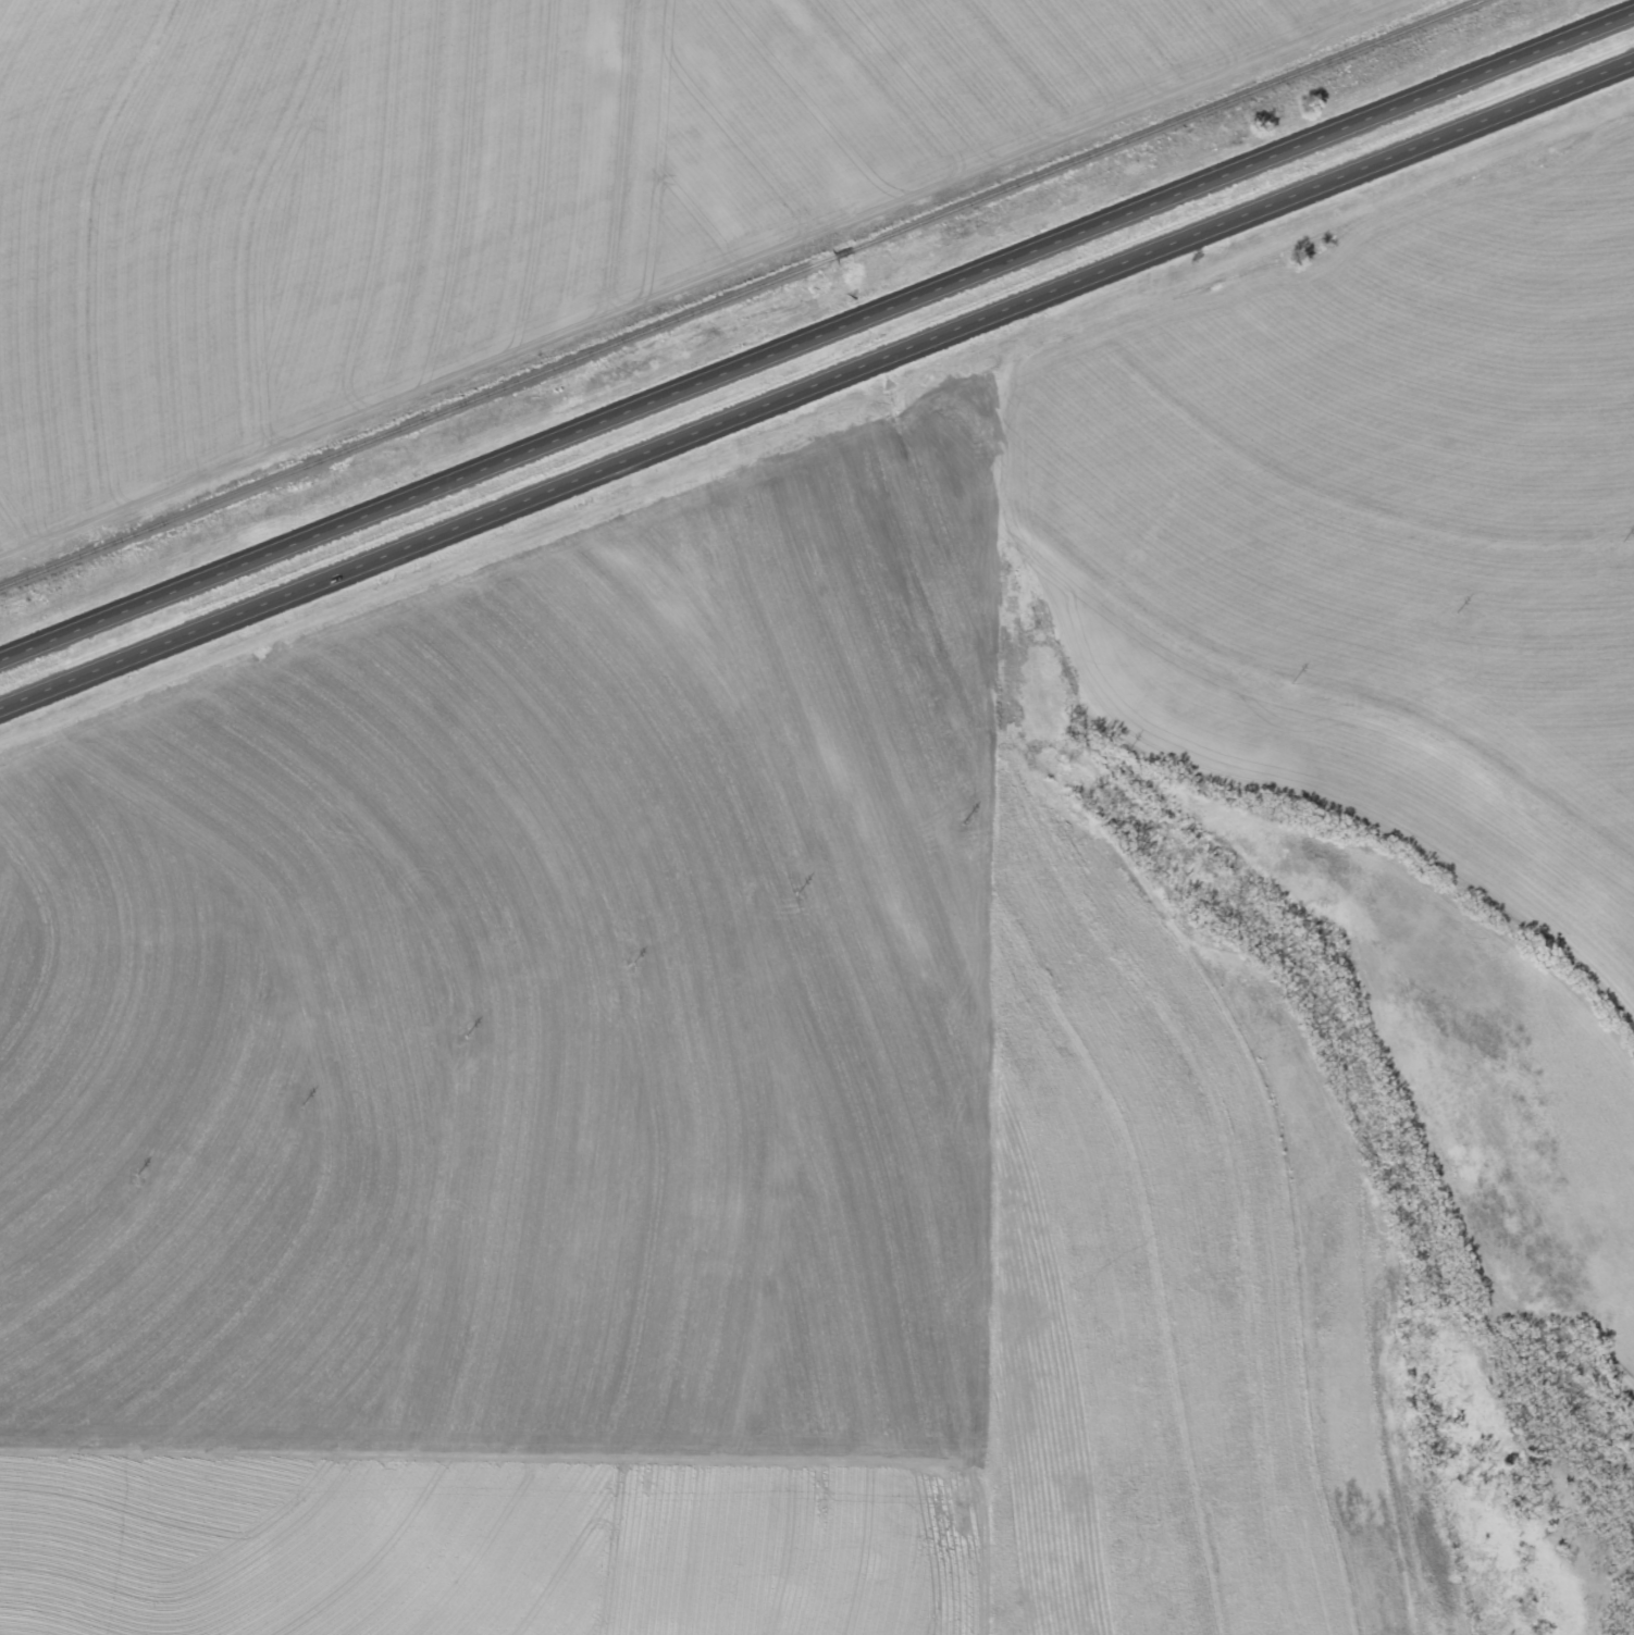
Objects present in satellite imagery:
railway: (742, 292)
road: (817, 343)
road: (817, 391)
road: (810, 508)
road: (1018, 1179)

